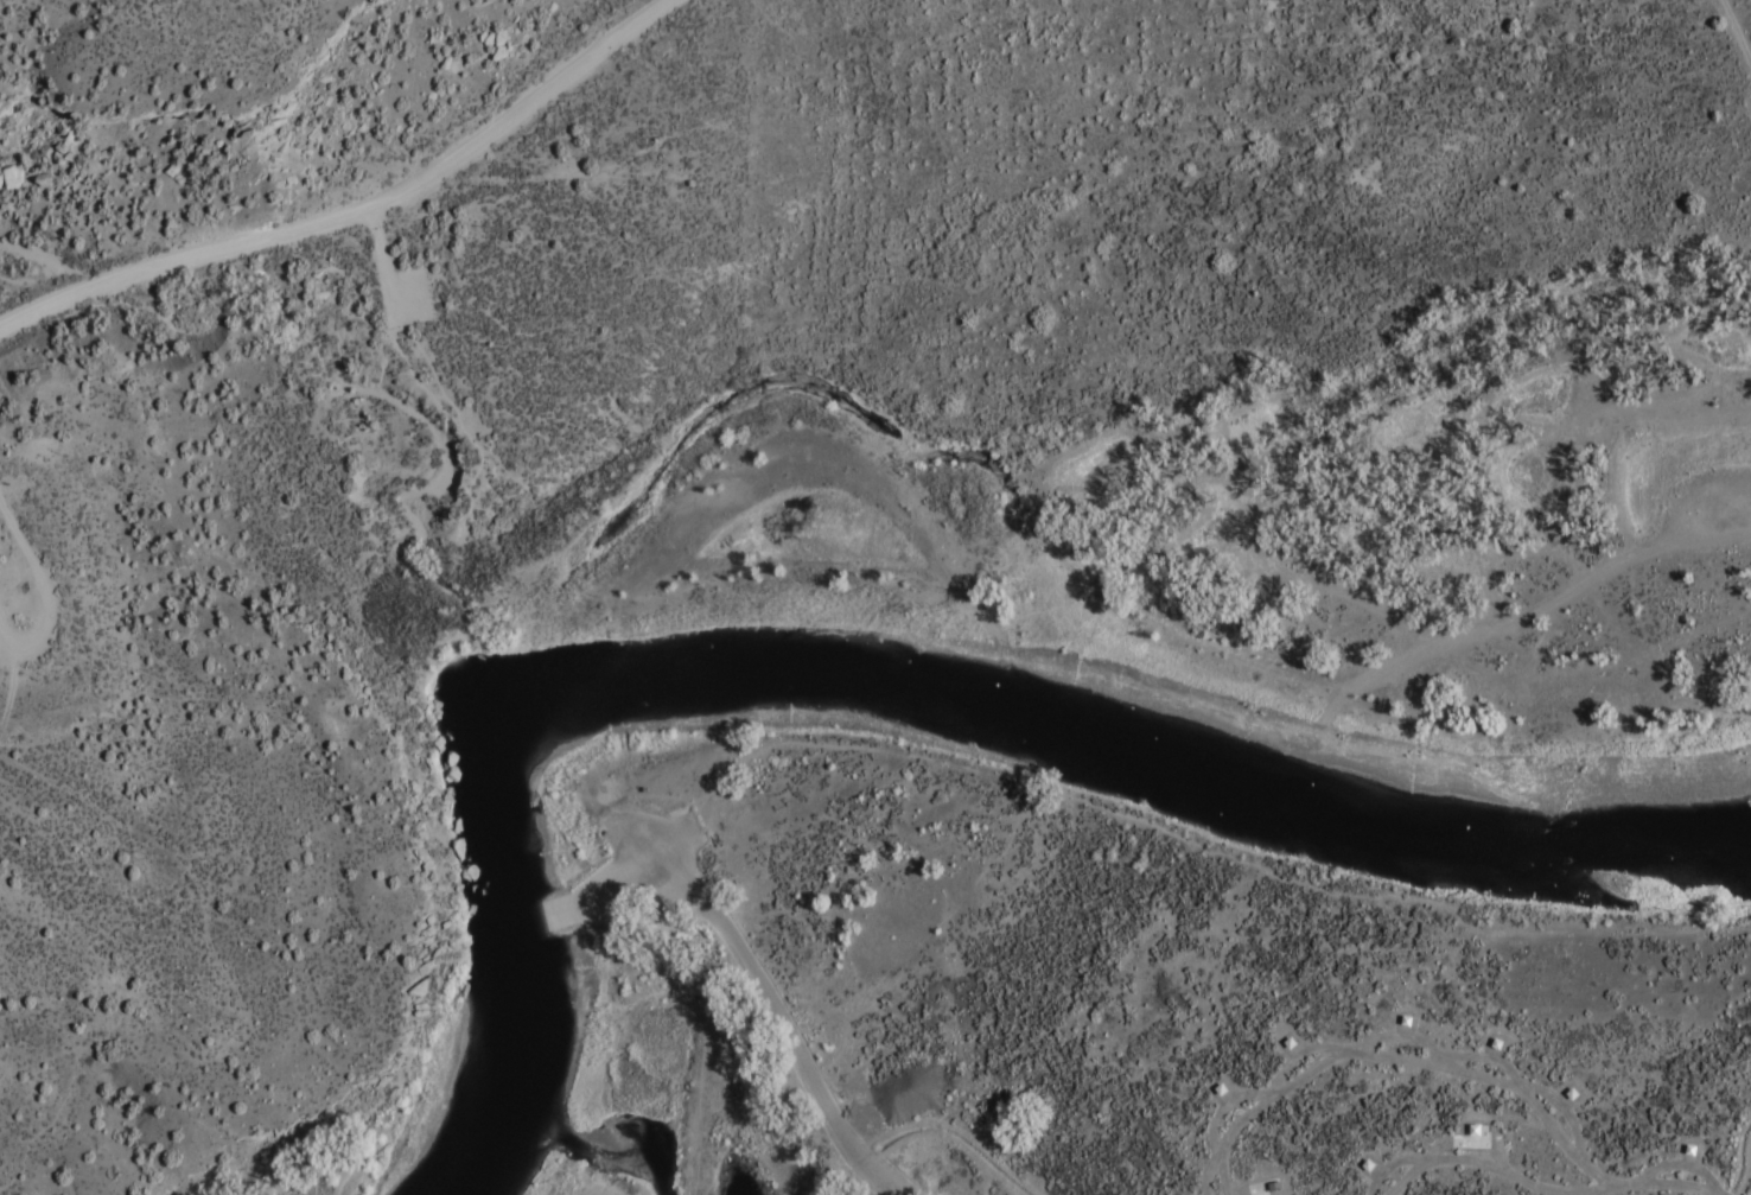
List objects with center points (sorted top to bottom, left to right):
road: (359, 214)
road: (393, 262)
parking lot: (413, 300)
road: (1214, 549)
road: (49, 595)
river: (884, 686)
road: (1190, 838)
road: (775, 1035)

